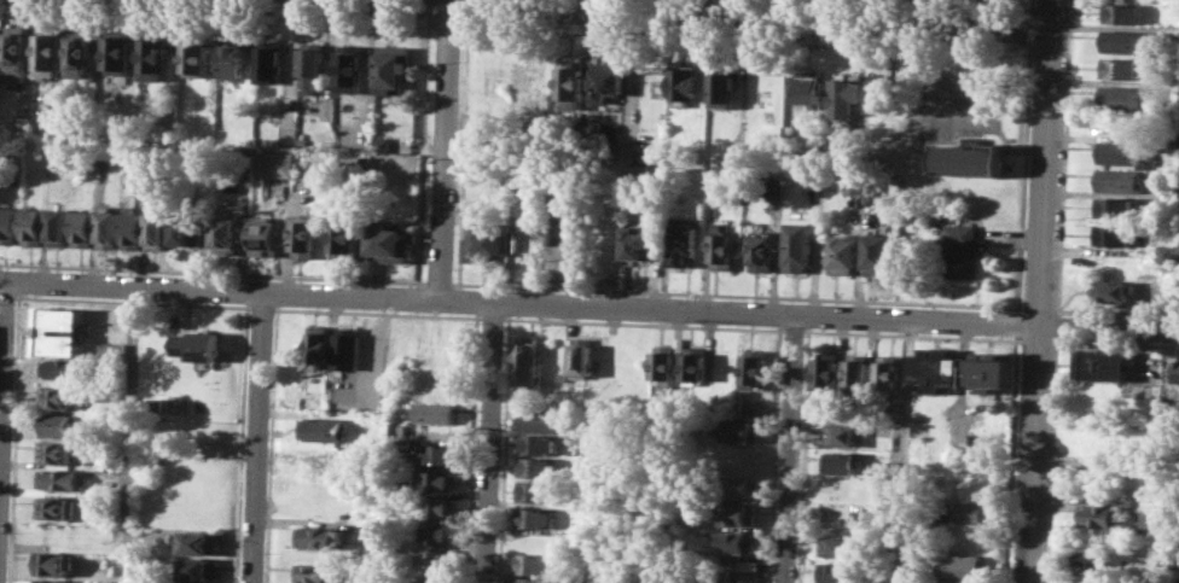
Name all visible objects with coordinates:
road: (949, 4)
road: (428, 7)
road: (469, 7)
road: (1030, 7)
building: (1122, 12)
road: (217, 13)
road: (730, 16)
road: (447, 25)
road: (1030, 29)
road: (744, 40)
building: (1123, 41)
building: (16, 49)
building: (48, 51)
building: (80, 52)
building: (116, 53)
building: (194, 56)
building: (152, 58)
building: (232, 59)
building: (269, 62)
building: (312, 65)
building: (1121, 66)
building: (350, 68)
building: (391, 68)
building: (527, 74)
building: (605, 80)
building: (569, 83)
building: (681, 86)
building: (807, 86)
building: (720, 88)
building: (879, 92)
building: (1120, 95)
building: (842, 97)
parking lot: (962, 107)
building: (23, 123)
building: (57, 123)
building: (610, 138)
building: (1172, 141)
building: (382, 142)
building: (48, 146)
road: (423, 148)
road: (442, 148)
building: (105, 150)
road: (463, 150)
building: (1123, 153)
building: (643, 156)
road: (1064, 156)
building: (970, 158)
building: (277, 163)
road: (1023, 174)
building: (709, 176)
building: (1121, 180)
building: (853, 182)
building: (871, 183)
building: (774, 186)
building: (567, 200)
building: (1115, 208)
building: (935, 211)
building: (8, 223)
building: (33, 226)
building: (58, 226)
building: (82, 227)
building: (108, 228)
building: (130, 228)
building: (185, 229)
building: (156, 231)
building: (547, 231)
building: (225, 233)
building: (304, 233)
building: (266, 234)
building: (1113, 234)
building: (344, 239)
building: (484, 240)
building: (680, 240)
building: (388, 241)
building: (1178, 243)
building: (633, 244)
building: (720, 247)
building: (797, 247)
building: (760, 250)
building: (962, 251)
building: (877, 252)
building: (843, 253)
road: (211, 272)
road: (437, 286)
building: (1113, 290)
road: (1040, 291)
road: (8, 293)
road: (18, 295)
road: (737, 295)
road: (262, 305)
road: (589, 305)
road: (1021, 307)
road: (1039, 307)
road: (379, 313)
road: (493, 314)
road: (644, 322)
road: (1021, 322)
road: (18, 323)
road: (792, 326)
building: (60, 330)
road: (1018, 337)
building: (319, 342)
building: (198, 344)
building: (347, 345)
building: (111, 349)
road: (1016, 354)
building: (581, 356)
road: (2, 358)
building: (666, 358)
building: (527, 360)
building: (693, 362)
building: (1104, 365)
building: (754, 367)
building: (60, 368)
building: (937, 368)
building: (859, 371)
building: (992, 371)
building: (1175, 371)
building: (827, 373)
building: (888, 373)
building: (56, 397)
building: (152, 404)
building: (432, 412)
building: (540, 420)
building: (57, 425)
building: (324, 428)
building: (397, 428)
building: (742, 430)
road: (127, 435)
building: (843, 435)
road: (256, 437)
building: (1107, 437)
road: (272, 443)
road: (489, 443)
building: (535, 443)
road: (242, 444)
building: (400, 444)
building: (575, 444)
road: (791, 448)
road: (471, 449)
road: (504, 450)
road: (906, 450)
building: (53, 451)
building: (441, 453)
road: (773, 455)
road: (803, 456)
building: (842, 461)
building: (324, 462)
building: (536, 467)
building: (59, 479)
building: (436, 479)
building: (737, 485)
building: (536, 490)
building: (436, 506)
building: (53, 507)
building: (103, 508)
building: (969, 511)
building: (736, 513)
building: (1100, 514)
building: (533, 515)
building: (368, 530)
building: (439, 532)
building: (318, 537)
building: (736, 541)
building: (196, 542)
building: (840, 546)
building: (439, 560)
building: (51, 561)
building: (1094, 561)
building: (532, 562)
building: (962, 564)
building: (197, 567)
building: (316, 572)
building: (840, 572)
building: (596, 576)
building: (618, 576)
building: (643, 576)
building: (721, 576)
building: (748, 577)
building: (667, 578)
building: (693, 578)
building: (439, 579)
building: (532, 579)
building: (48, 581)
building: (960, 581)

